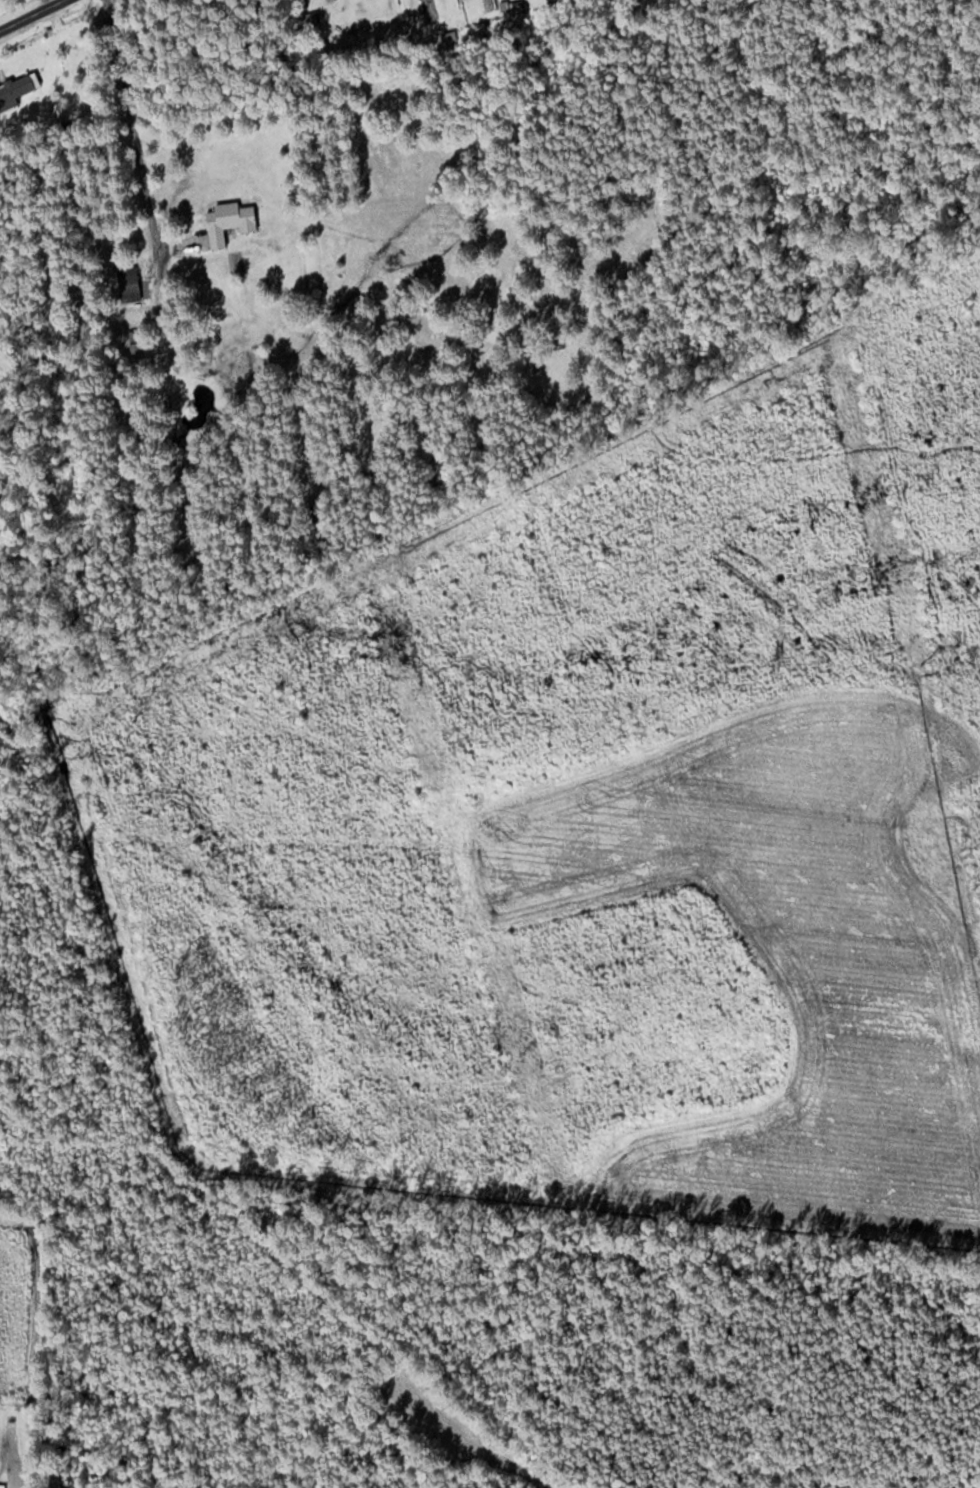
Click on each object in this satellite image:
road: (36, 16)
building: (311, 18)
building: (17, 89)
road: (131, 125)
building: (229, 220)
building: (129, 283)

